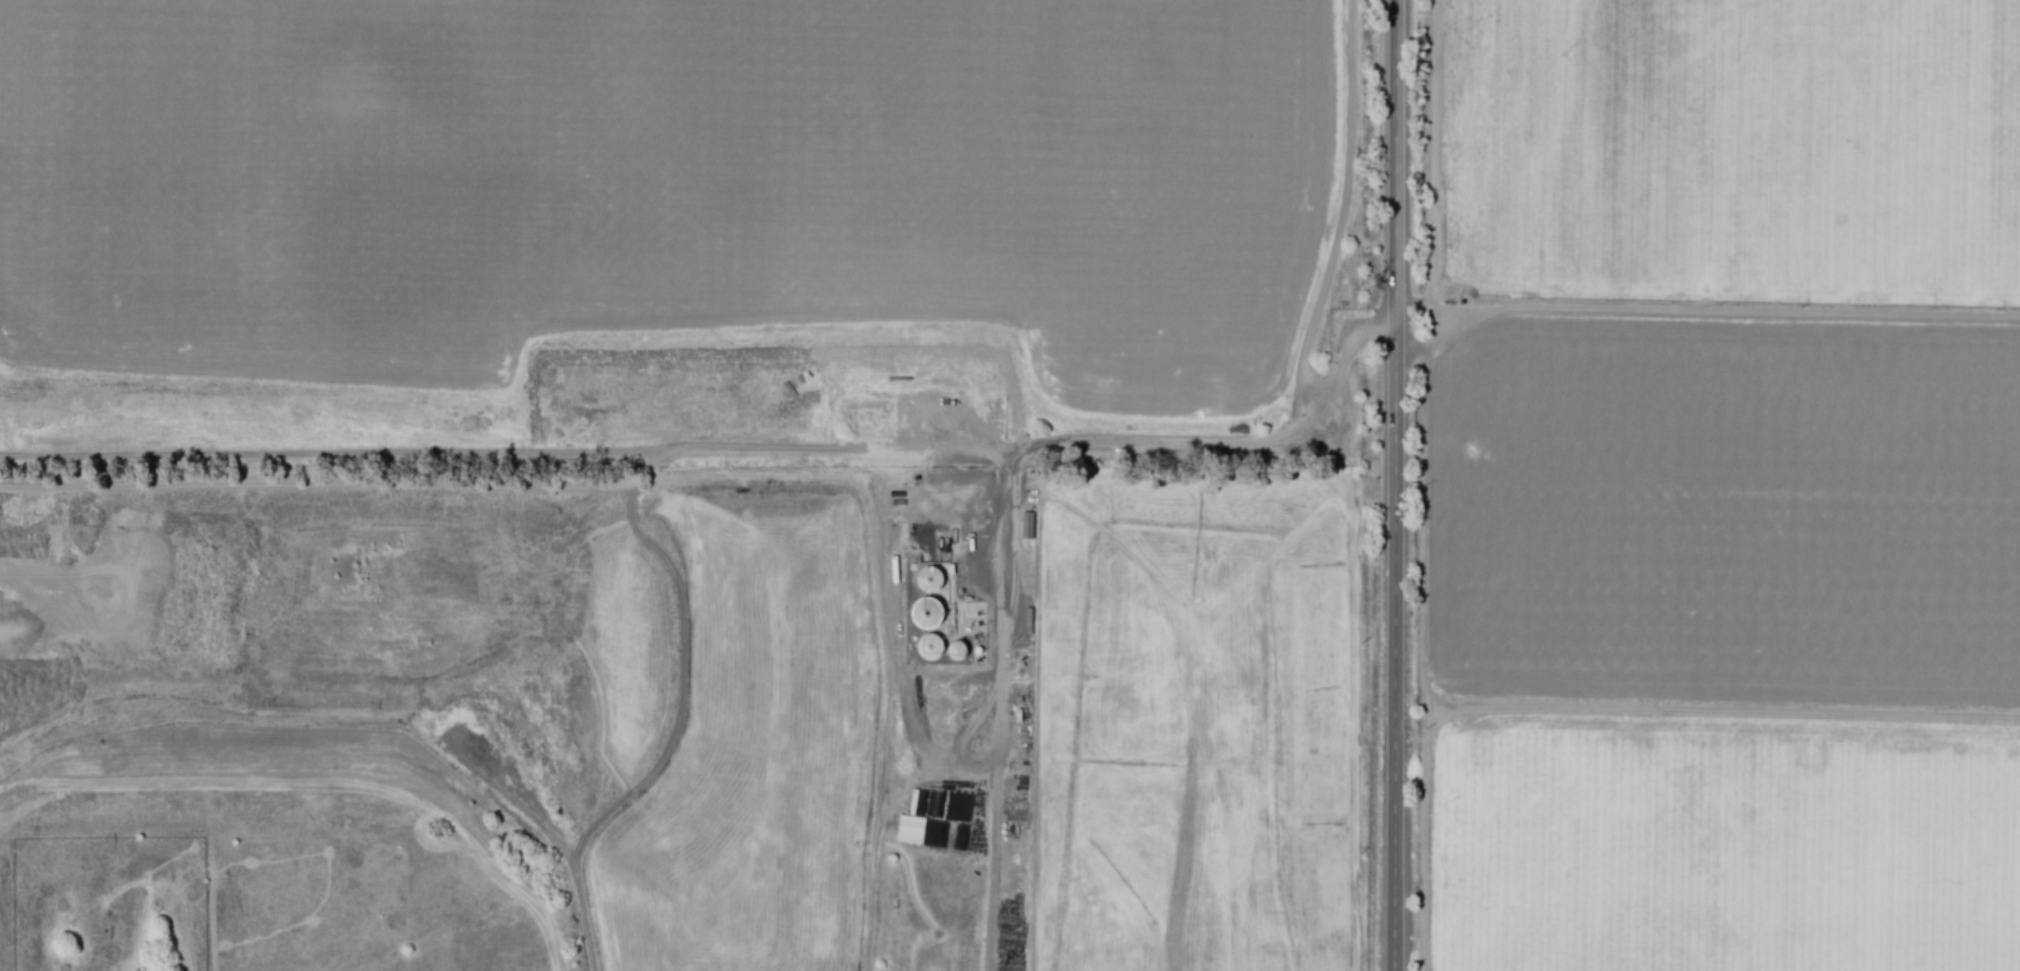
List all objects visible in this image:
road: (1342, 207)
road: (1701, 311)
road: (1174, 443)
road: (1395, 485)
building: (1026, 524)
road: (1422, 524)
building: (930, 609)
road: (1729, 709)
road: (919, 775)
building: (909, 828)
road: (1421, 835)
road: (989, 840)
road: (584, 911)

